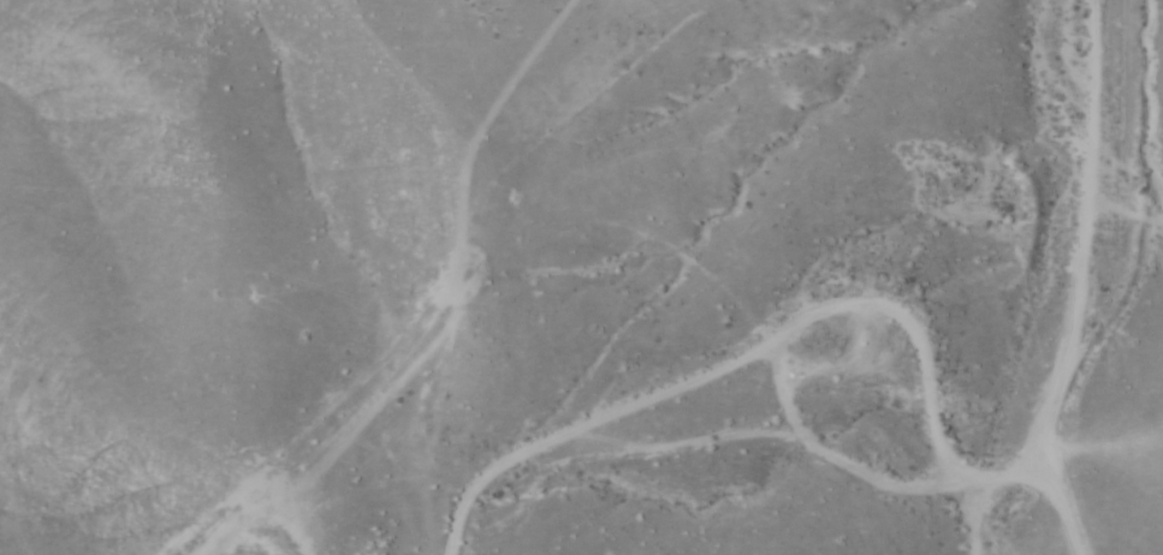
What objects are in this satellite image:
road: (1075, 255)
road: (815, 309)

